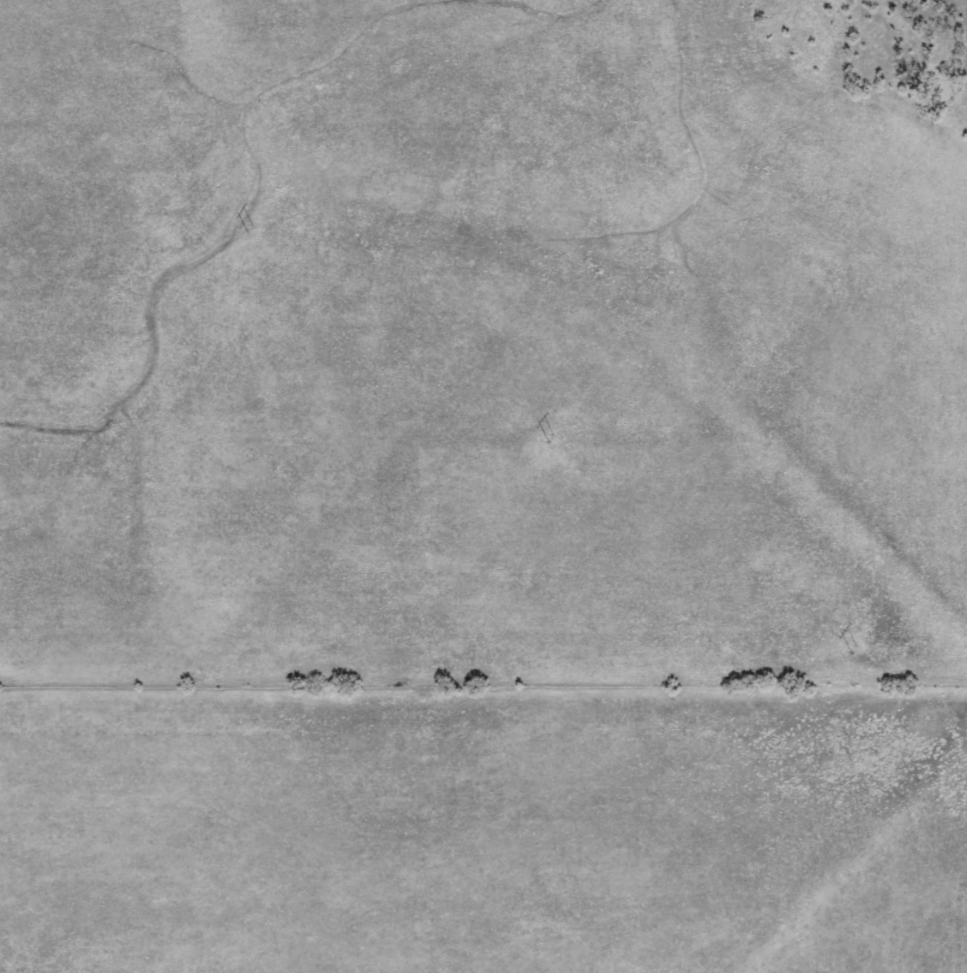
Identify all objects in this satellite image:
power tower: (246, 226)
power tower: (547, 440)
power tower: (852, 650)

